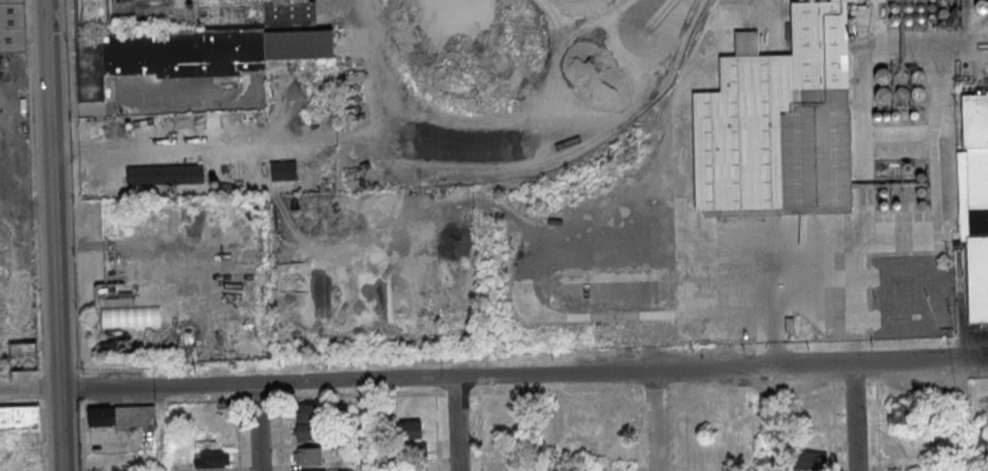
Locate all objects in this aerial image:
building: (12, 26)
building: (190, 38)
building: (779, 123)
building: (282, 171)
building: (166, 176)
road: (685, 197)
building: (975, 203)
road: (53, 235)
road: (876, 278)
road: (774, 354)
road: (494, 375)
building: (898, 414)
road: (967, 415)
building: (19, 417)
road: (856, 417)
building: (119, 418)
road: (759, 419)
road: (657, 420)
road: (560, 422)
building: (307, 423)
road: (456, 424)
road: (361, 426)
road: (258, 427)
road: (161, 429)
building: (410, 429)
building: (980, 434)
building: (413, 449)
building: (308, 456)
building: (210, 458)
building: (809, 460)
building: (408, 469)
building: (309, 470)

